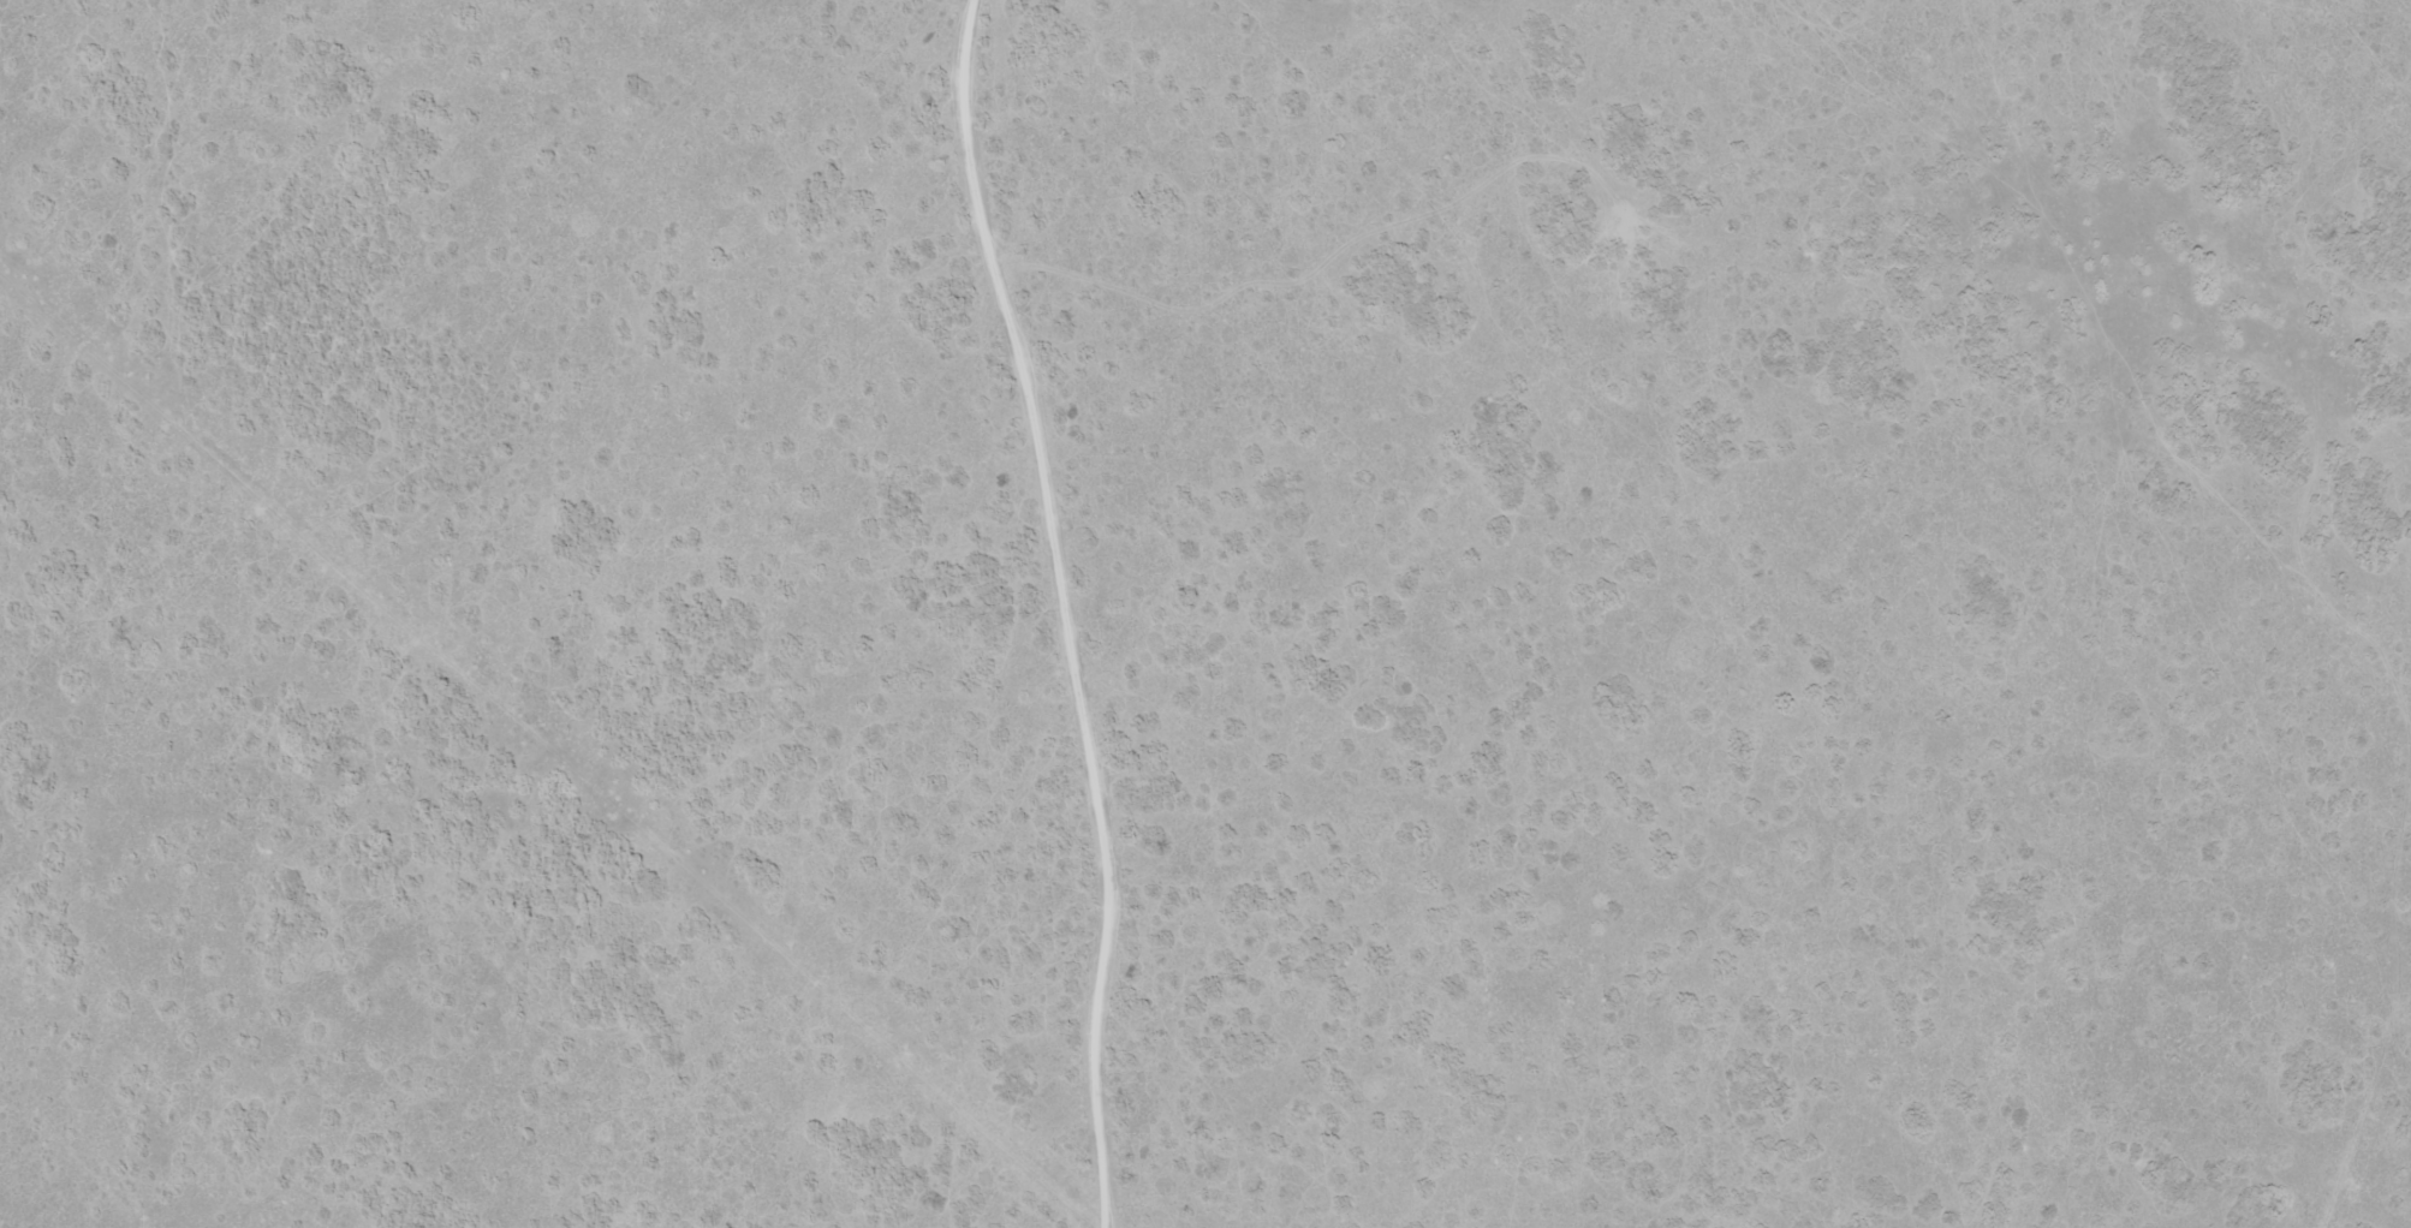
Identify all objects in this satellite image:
road: (1066, 608)

